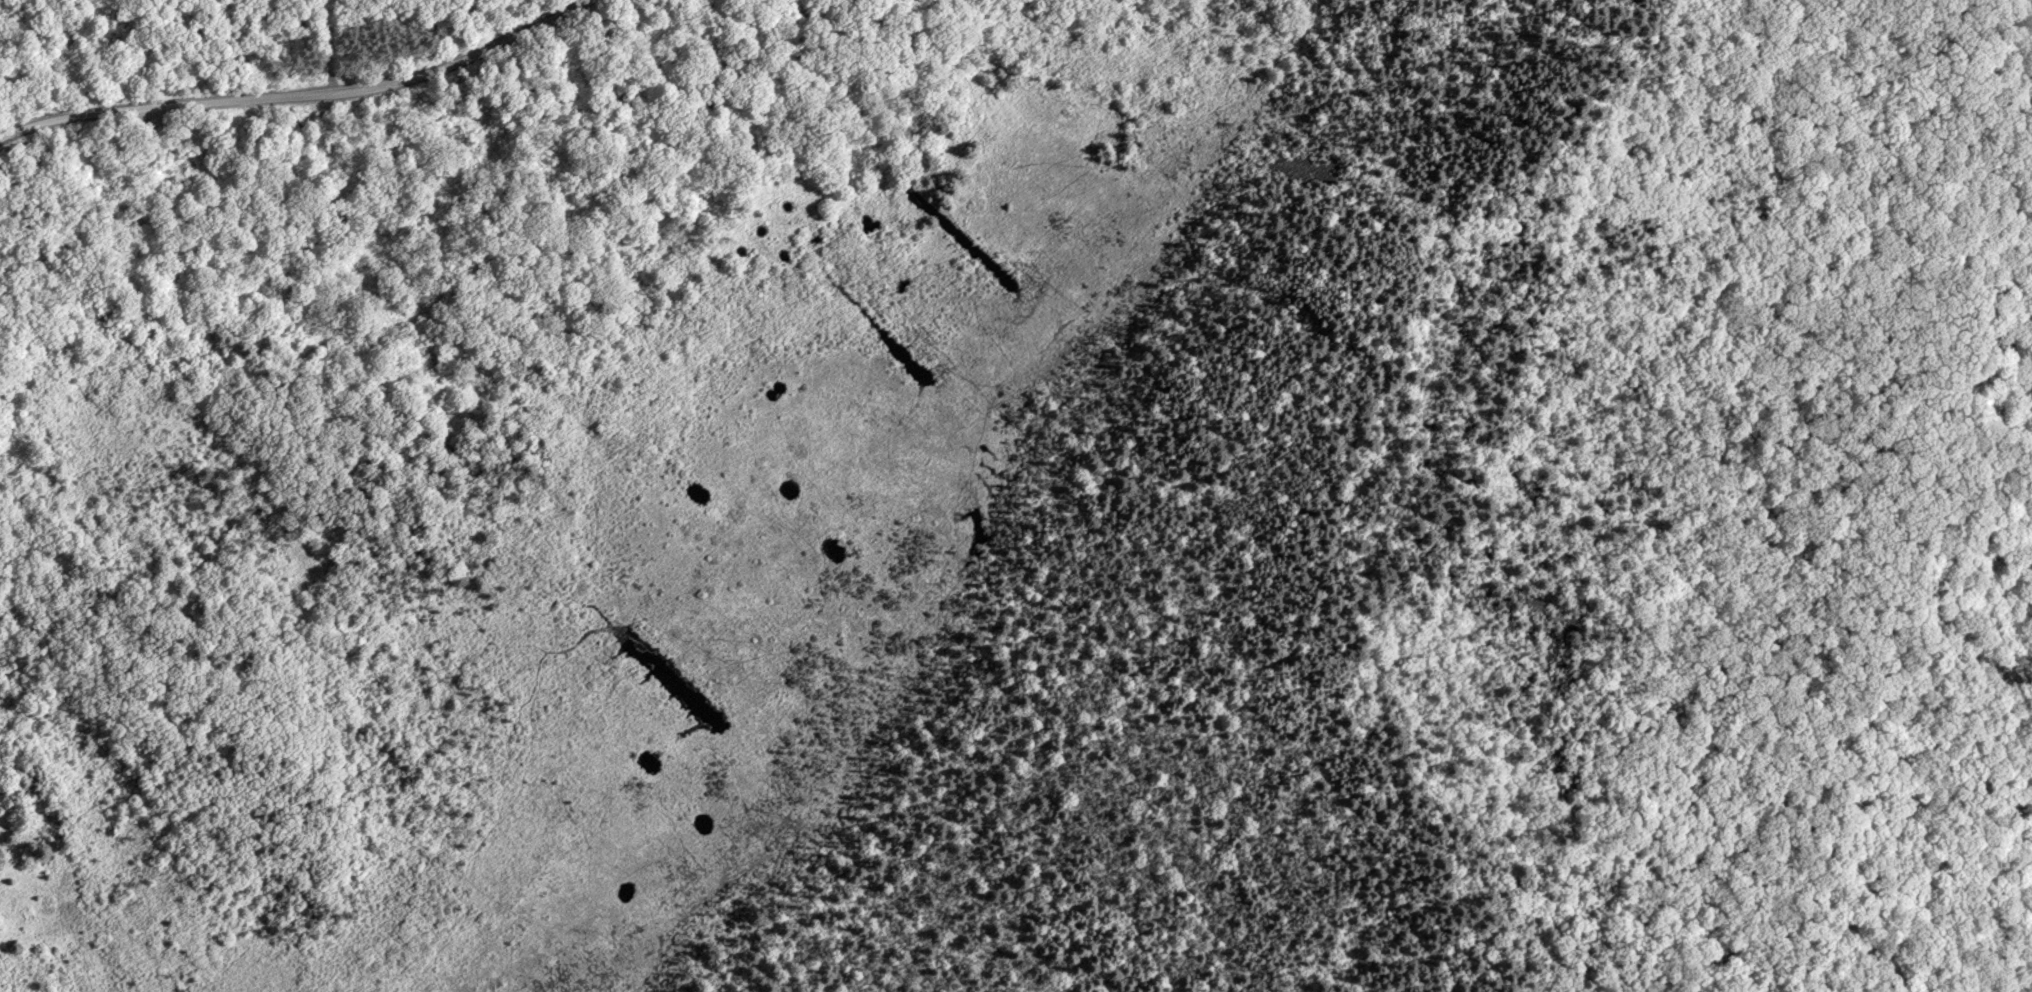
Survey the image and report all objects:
road: (335, 46)
road: (463, 58)
road: (164, 106)
parking lot: (163, 115)
road: (1, 136)

